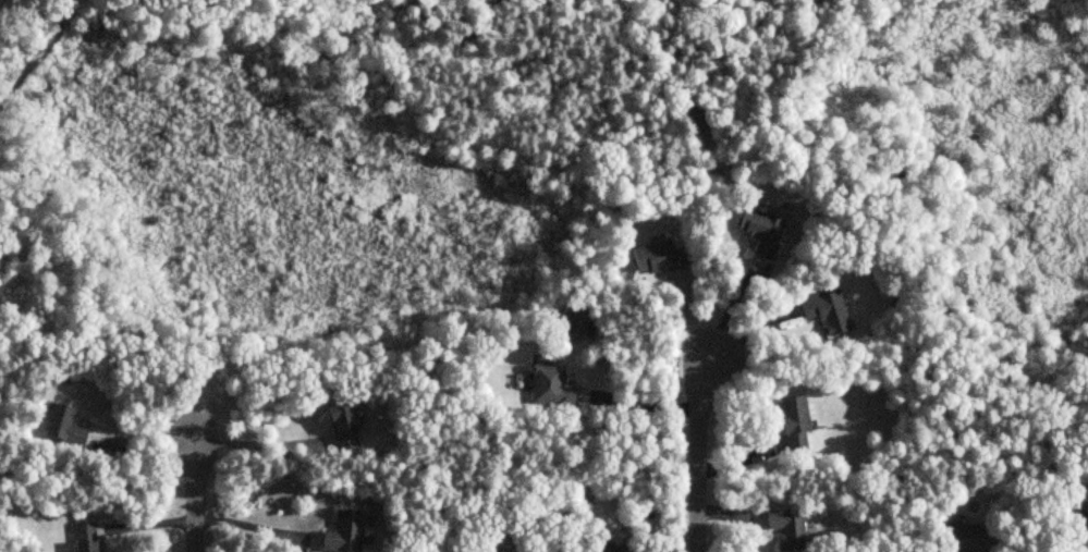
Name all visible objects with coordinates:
road: (38, 53)
building: (699, 116)
building: (761, 232)
building: (657, 257)
building: (824, 311)
building: (577, 322)
building: (548, 387)
road: (636, 402)
building: (794, 425)
building: (340, 427)
building: (62, 428)
road: (255, 444)
road: (696, 452)
road: (195, 492)
building: (1086, 519)
building: (787, 529)
building: (346, 531)
building: (86, 538)
building: (965, 538)
building: (604, 548)

